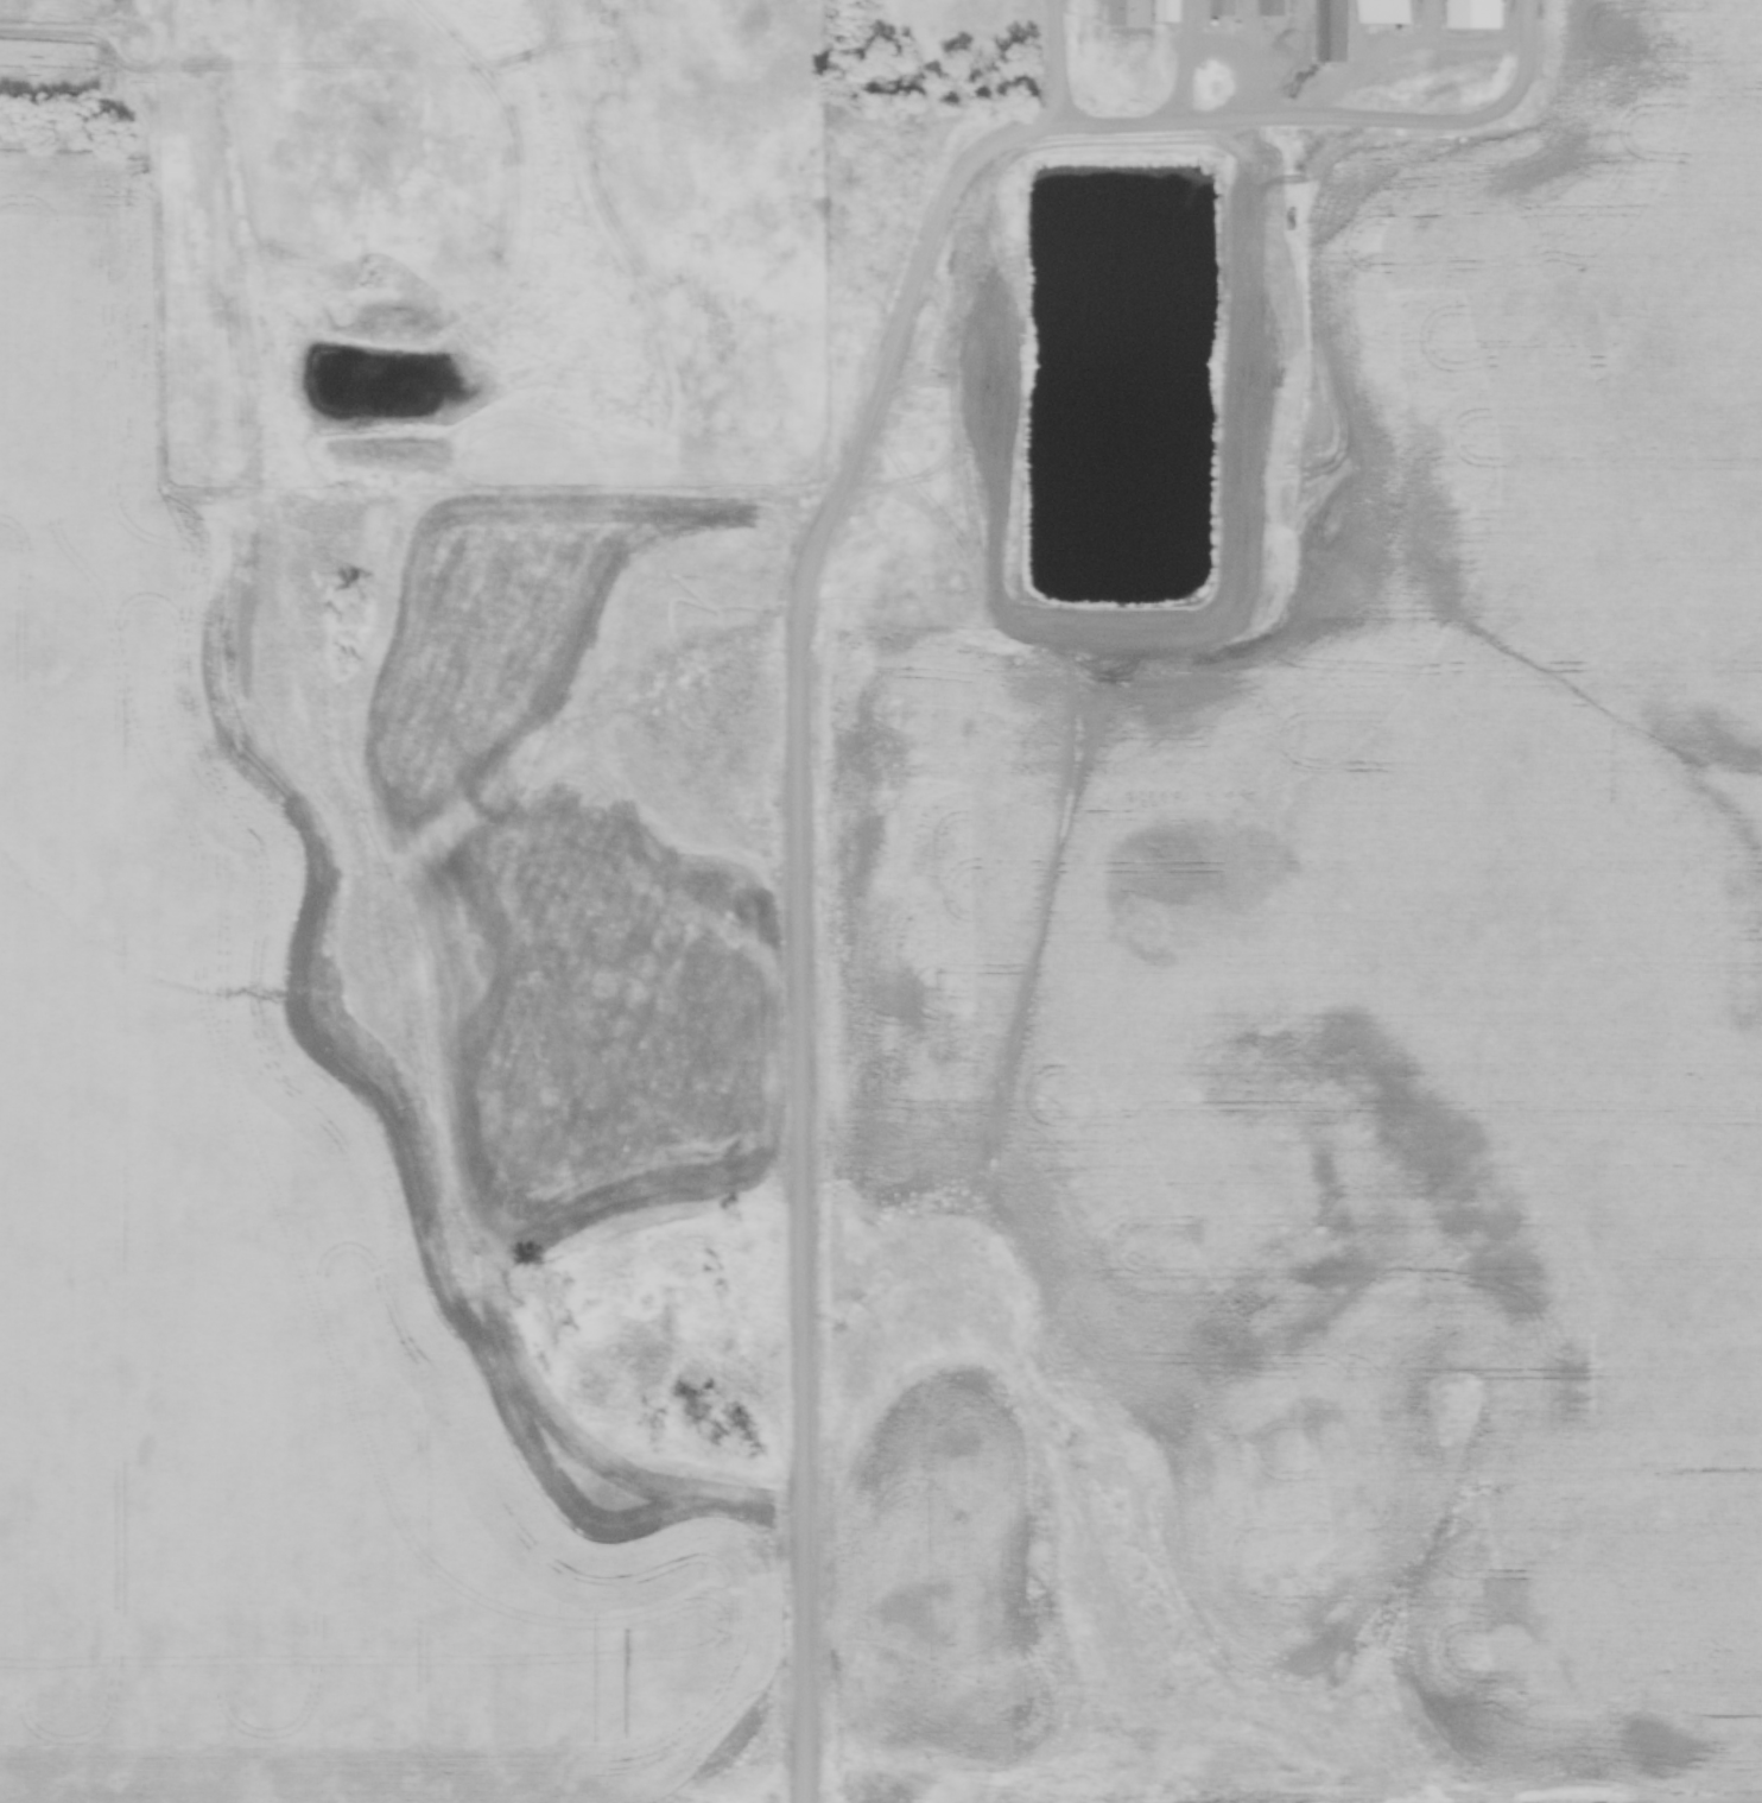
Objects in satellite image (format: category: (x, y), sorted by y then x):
building: (1133, 2)
building: (1225, 8)
building: (1274, 8)
building: (1170, 12)
building: (1387, 12)
building: (1476, 13)
building: (1333, 31)

